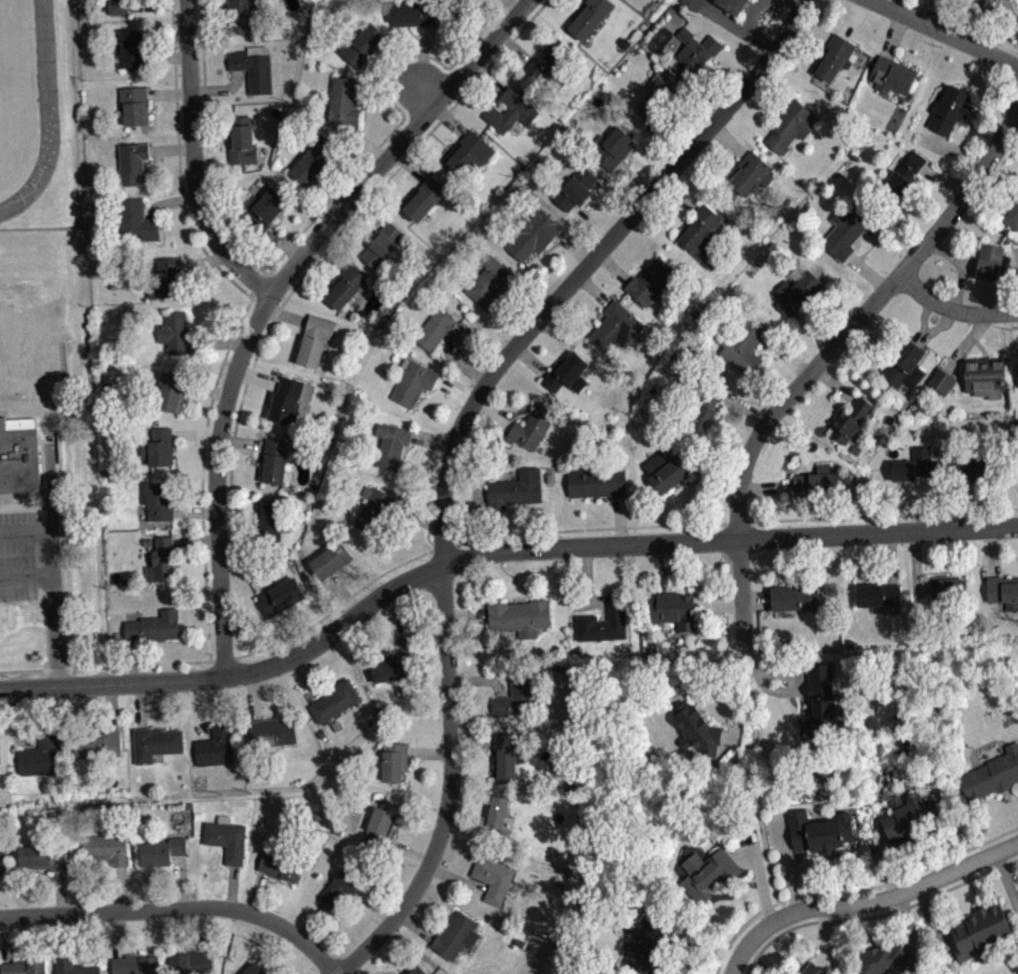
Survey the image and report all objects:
building: (470, 1)
building: (983, 1)
building: (464, 2)
road: (796, 2)
road: (158, 3)
road: (515, 4)
building: (693, 4)
building: (732, 5)
building: (118, 6)
building: (414, 12)
building: (240, 15)
building: (589, 17)
road: (748, 17)
road: (851, 17)
road: (208, 24)
road: (736, 27)
road: (483, 29)
road: (944, 33)
road: (893, 35)
building: (362, 44)
road: (514, 47)
building: (131, 49)
building: (695, 53)
road: (167, 56)
building: (834, 57)
building: (548, 61)
road: (422, 63)
road: (736, 63)
track: (45, 67)
building: (253, 68)
building: (892, 74)
road: (488, 76)
road: (399, 80)
road: (221, 87)
road: (168, 92)
building: (657, 98)
building: (343, 101)
building: (134, 104)
road: (697, 108)
building: (950, 109)
building: (510, 111)
road: (448, 118)
road: (751, 118)
building: (791, 125)
building: (242, 140)
road: (729, 140)
road: (362, 142)
road: (207, 145)
road: (378, 145)
road: (171, 147)
building: (611, 147)
road: (955, 147)
road: (212, 155)
building: (468, 155)
building: (313, 158)
road: (194, 160)
building: (132, 161)
road: (408, 164)
building: (751, 173)
building: (904, 175)
road: (944, 177)
road: (634, 179)
building: (575, 189)
road: (328, 193)
building: (425, 197)
road: (987, 197)
road: (677, 198)
road: (169, 200)
building: (264, 209)
road: (368, 209)
building: (1011, 213)
building: (137, 219)
road: (591, 224)
building: (850, 228)
building: (533, 232)
building: (701, 234)
road: (283, 242)
building: (382, 244)
road: (573, 246)
road: (325, 248)
road: (330, 252)
road: (204, 261)
building: (991, 261)
road: (968, 265)
road: (613, 267)
road: (959, 267)
road: (867, 272)
building: (166, 278)
road: (281, 278)
road: (256, 281)
building: (490, 281)
building: (651, 281)
building: (346, 286)
road: (593, 289)
building: (797, 291)
road: (270, 294)
road: (953, 309)
road: (285, 315)
road: (924, 315)
road: (240, 319)
road: (509, 319)
park: (33, 325)
road: (1015, 325)
building: (616, 326)
road: (814, 328)
road: (935, 328)
building: (442, 330)
building: (175, 332)
building: (315, 339)
road: (216, 341)
road: (967, 342)
building: (743, 345)
road: (787, 355)
road: (824, 356)
road: (531, 358)
road: (460, 364)
building: (904, 365)
building: (567, 372)
building: (1017, 372)
road: (256, 375)
building: (984, 376)
building: (941, 380)
building: (414, 382)
road: (835, 384)
road: (208, 389)
road: (455, 390)
building: (172, 391)
building: (286, 399)
road: (746, 407)
building: (707, 408)
road: (9, 410)
road: (492, 415)
building: (849, 419)
building: (533, 426)
road: (196, 433)
road: (242, 441)
road: (432, 442)
building: (392, 443)
road: (454, 443)
building: (159, 446)
building: (856, 449)
building: (19, 458)
building: (275, 460)
building: (917, 465)
building: (980, 465)
building: (674, 469)
road: (721, 469)
road: (713, 479)
building: (818, 479)
building: (597, 482)
road: (767, 487)
building: (515, 490)
building: (159, 501)
road: (941, 502)
road: (465, 503)
road: (965, 504)
road: (22, 508)
building: (376, 509)
road: (195, 510)
road: (58, 511)
road: (883, 514)
road: (418, 517)
road: (619, 520)
road: (737, 522)
building: (270, 523)
road: (590, 527)
road: (237, 534)
road: (195, 540)
road: (443, 546)
road: (493, 551)
road: (993, 551)
parking lot: (18, 555)
road: (890, 557)
building: (162, 559)
building: (331, 559)
road: (916, 565)
road: (25, 571)
road: (51, 581)
road: (587, 581)
building: (948, 589)
building: (1002, 591)
road: (342, 594)
building: (878, 594)
building: (281, 596)
road: (756, 596)
building: (795, 597)
road: (718, 601)
road: (335, 606)
building: (674, 609)
road: (466, 614)
building: (520, 616)
road: (396, 620)
building: (604, 621)
building: (153, 627)
road: (285, 633)
road: (222, 658)
road: (135, 660)
road: (138, 663)
building: (394, 668)
road: (33, 669)
road: (768, 673)
road: (303, 679)
road: (480, 679)
road: (253, 695)
building: (516, 695)
road: (727, 697)
building: (820, 698)
building: (335, 700)
road: (141, 704)
road: (112, 705)
road: (195, 709)
road: (12, 723)
building: (697, 729)
building: (272, 731)
road: (473, 740)
building: (155, 743)
building: (100, 744)
building: (215, 746)
road: (430, 751)
building: (39, 756)
building: (504, 756)
building: (395, 761)
building: (991, 775)
road: (755, 788)
building: (909, 816)
building: (499, 818)
building: (380, 823)
road: (469, 826)
building: (820, 832)
building: (226, 837)
building: (107, 848)
road: (407, 849)
building: (162, 851)
building: (43, 856)
road: (785, 859)
road: (881, 861)
building: (2, 862)
building: (279, 864)
road: (759, 872)
building: (708, 873)
road: (902, 875)
road: (457, 878)
building: (493, 878)
road: (1006, 878)
road: (181, 880)
road: (232, 886)
road: (121, 887)
building: (340, 888)
road: (256, 891)
road: (61, 892)
road: (895, 895)
road: (178, 906)
road: (876, 915)
road: (933, 917)
road: (311, 920)
road: (417, 925)
road: (205, 929)
road: (740, 929)
road: (911, 929)
building: (982, 932)
road: (117, 933)
road: (63, 935)
building: (456, 935)
road: (824, 937)
road: (6, 939)
building: (519, 943)
building: (647, 944)
road: (746, 946)
building: (885, 958)
building: (191, 963)
building: (136, 964)
building: (23, 966)
building: (74, 967)
building: (254, 969)
building: (813, 969)
building: (418, 970)

